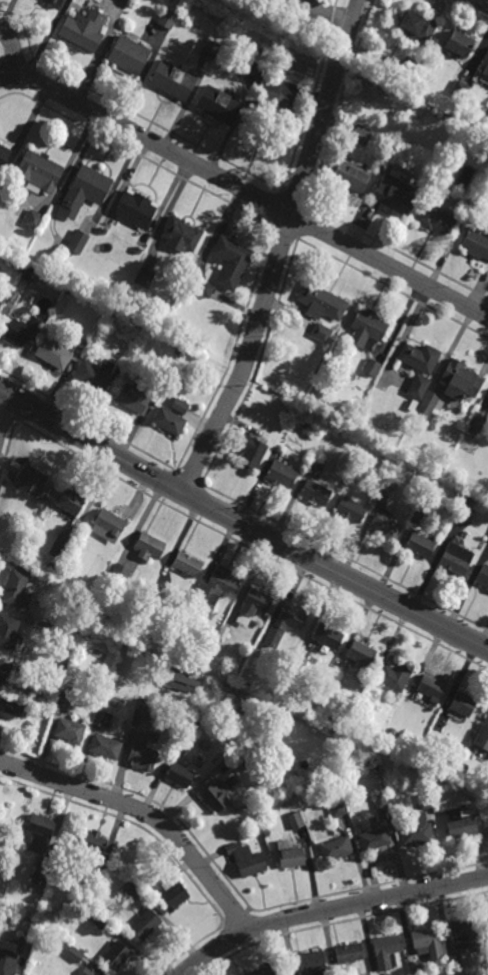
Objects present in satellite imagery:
building: (127, 0)
road: (483, 2)
building: (53, 4)
road: (325, 11)
building: (168, 20)
building: (418, 27)
building: (85, 30)
building: (459, 41)
building: (211, 48)
road: (13, 53)
building: (130, 54)
building: (409, 69)
building: (486, 70)
building: (256, 73)
building: (174, 80)
building: (461, 88)
building: (220, 104)
building: (485, 115)
building: (269, 119)
building: (360, 135)
building: (4, 155)
building: (40, 171)
building: (349, 175)
building: (86, 190)
road: (248, 192)
building: (395, 194)
building: (138, 208)
building: (34, 220)
building: (435, 220)
building: (104, 230)
building: (182, 235)
building: (78, 242)
building: (476, 245)
building: (139, 250)
road: (280, 250)
building: (231, 261)
building: (20, 266)
building: (27, 274)
building: (145, 278)
building: (35, 280)
building: (201, 284)
building: (4, 293)
building: (70, 293)
building: (321, 302)
building: (111, 314)
building: (19, 329)
building: (367, 329)
building: (322, 333)
building: (181, 351)
building: (57, 353)
building: (420, 358)
building: (372, 368)
building: (96, 374)
building: (460, 381)
building: (418, 387)
building: (138, 396)
building: (182, 406)
building: (430, 406)
road: (4, 411)
building: (412, 411)
building: (172, 422)
building: (477, 423)
building: (395, 431)
building: (251, 452)
building: (317, 466)
building: (281, 472)
building: (31, 481)
building: (392, 486)
building: (314, 494)
building: (384, 496)
building: (40, 504)
building: (72, 504)
building: (350, 510)
building: (468, 512)
road: (241, 523)
building: (109, 527)
building: (385, 528)
building: (420, 546)
building: (57, 548)
building: (150, 548)
building: (456, 559)
building: (55, 564)
building: (188, 565)
building: (120, 576)
building: (483, 576)
building: (16, 590)
building: (212, 591)
building: (158, 595)
building: (253, 606)
building: (75, 622)
building: (276, 627)
building: (9, 633)
building: (222, 633)
building: (327, 636)
building: (361, 653)
building: (1, 667)
building: (394, 675)
building: (166, 678)
building: (1, 683)
building: (192, 686)
building: (430, 689)
building: (62, 702)
building: (463, 704)
building: (142, 707)
building: (12, 708)
building: (346, 715)
building: (100, 719)
building: (69, 731)
building: (391, 733)
building: (483, 735)
building: (181, 744)
building: (104, 747)
building: (141, 755)
building: (244, 757)
building: (485, 770)
building: (178, 776)
building: (215, 795)
building: (380, 801)
building: (424, 801)
building: (337, 809)
road: (147, 813)
building: (295, 821)
building: (460, 823)
building: (485, 824)
building: (40, 831)
building: (416, 832)
building: (375, 837)
building: (90, 846)
building: (336, 849)
building: (289, 855)
building: (246, 861)
building: (4, 871)
building: (40, 872)
building: (91, 879)
building: (150, 889)
building: (80, 891)
building: (129, 891)
building: (171, 894)
road: (328, 911)
building: (487, 919)
building: (97, 921)
building: (145, 924)
building: (465, 935)
building: (427, 942)
building: (24, 945)
building: (386, 950)
building: (348, 953)
building: (73, 955)
building: (115, 955)
building: (7, 958)
building: (455, 960)
building: (311, 963)
building: (417, 968)
building: (262, 971)
building: (88, 972)

